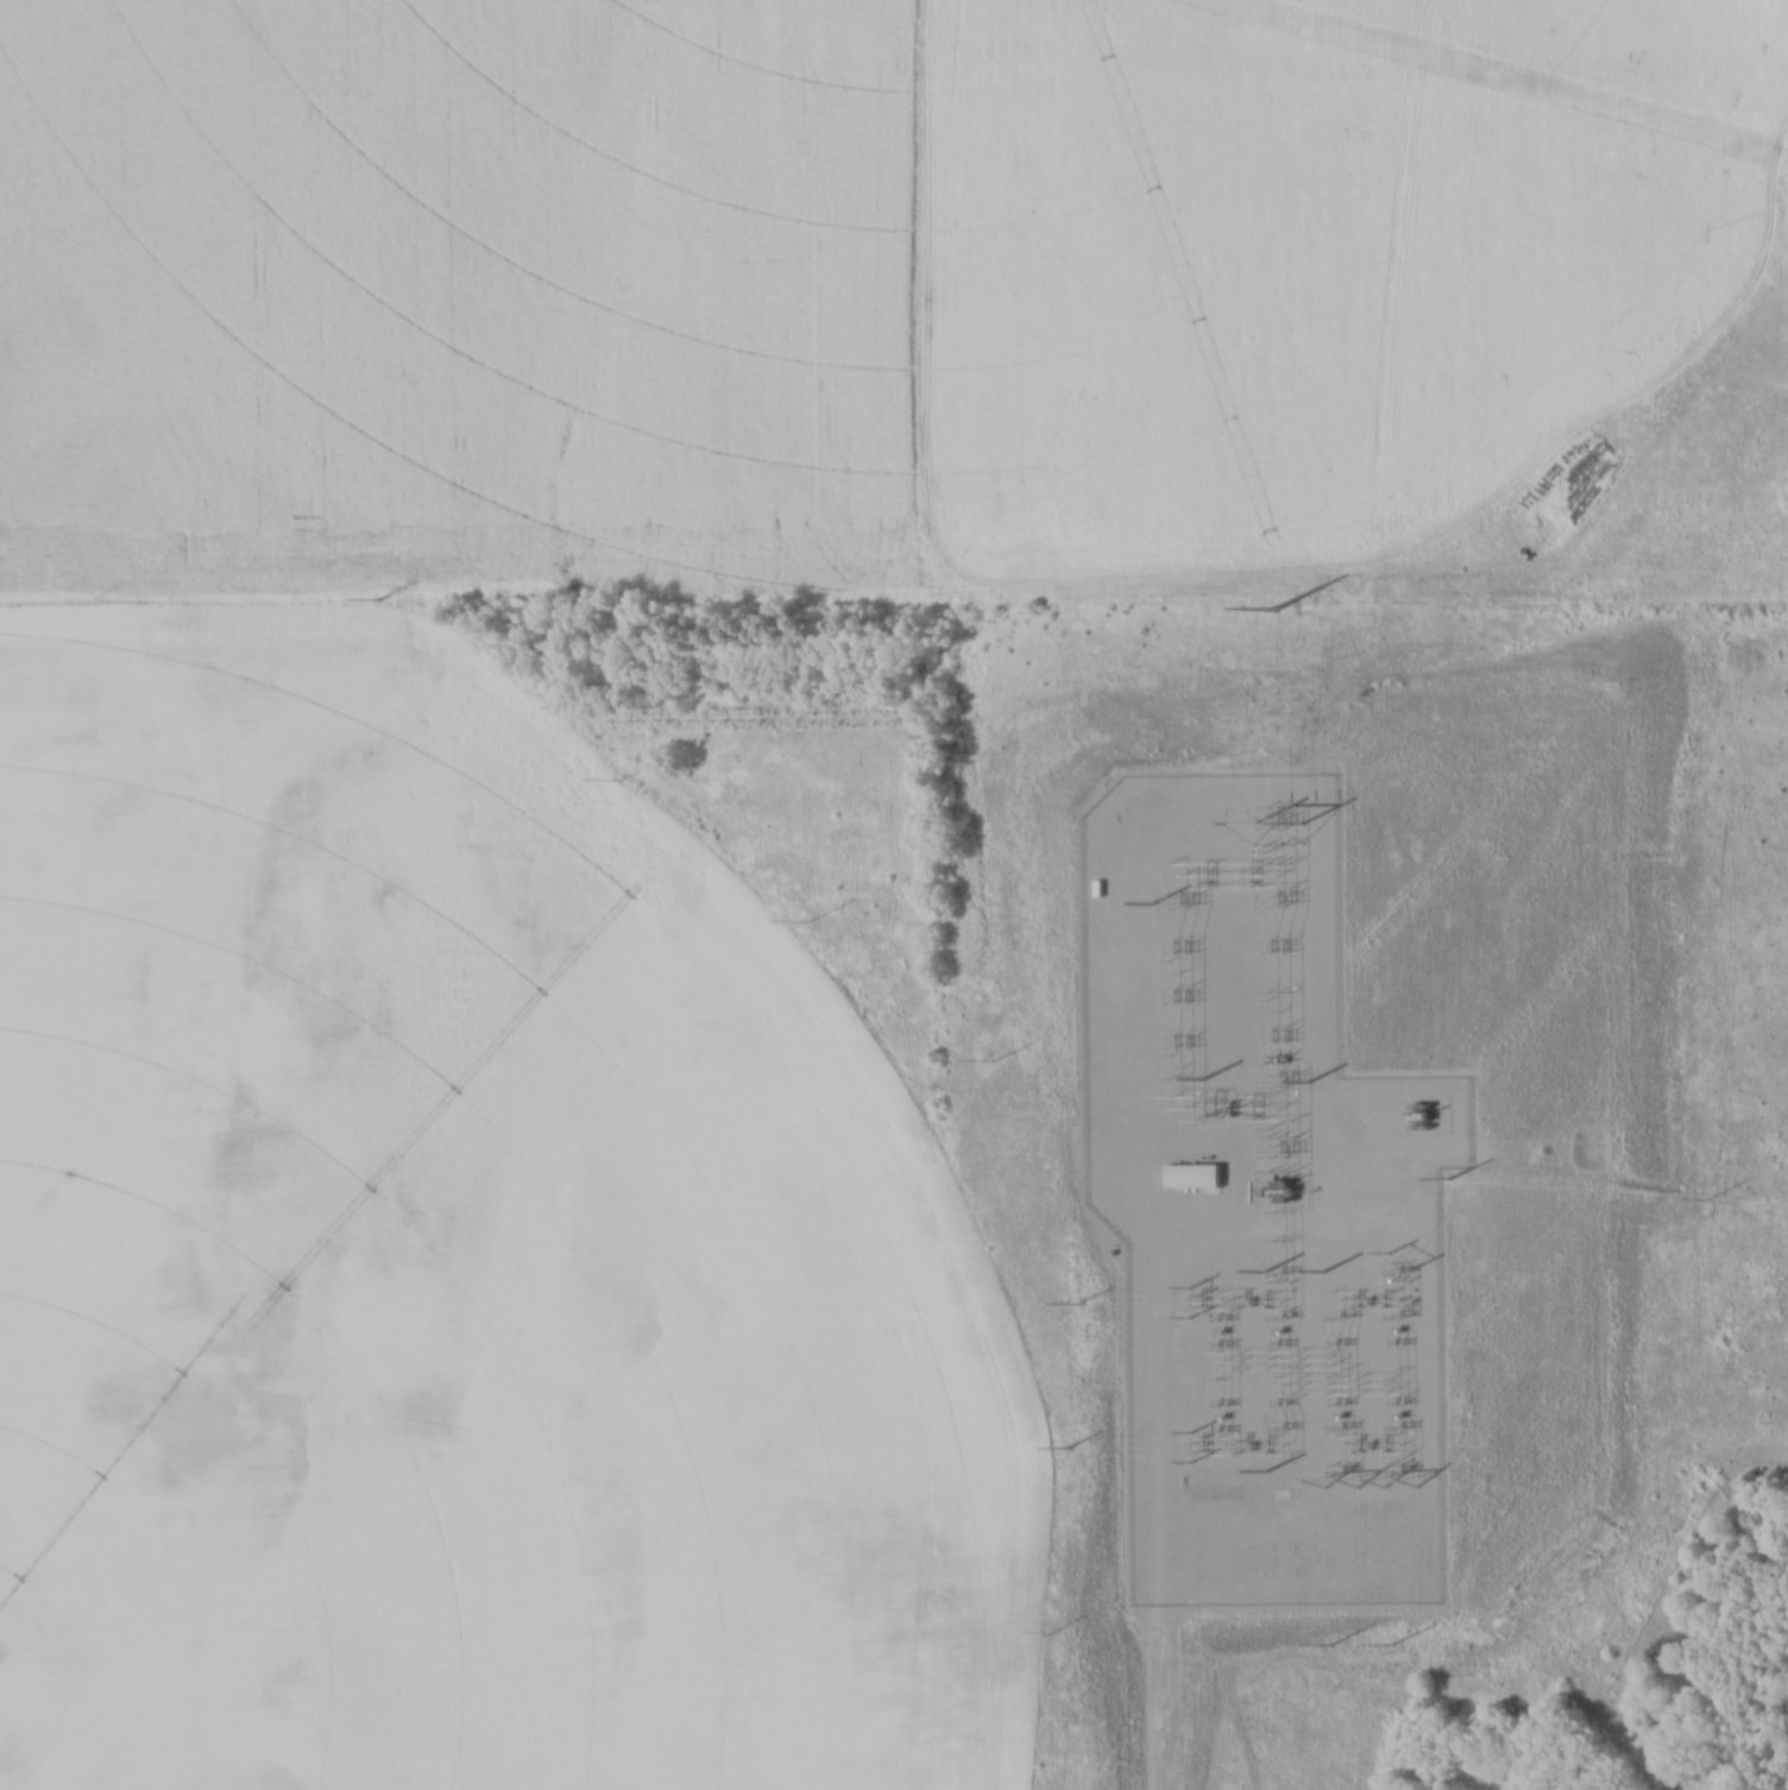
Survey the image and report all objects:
power tower: (1273, 607)
power substation: (1260, 1204)

